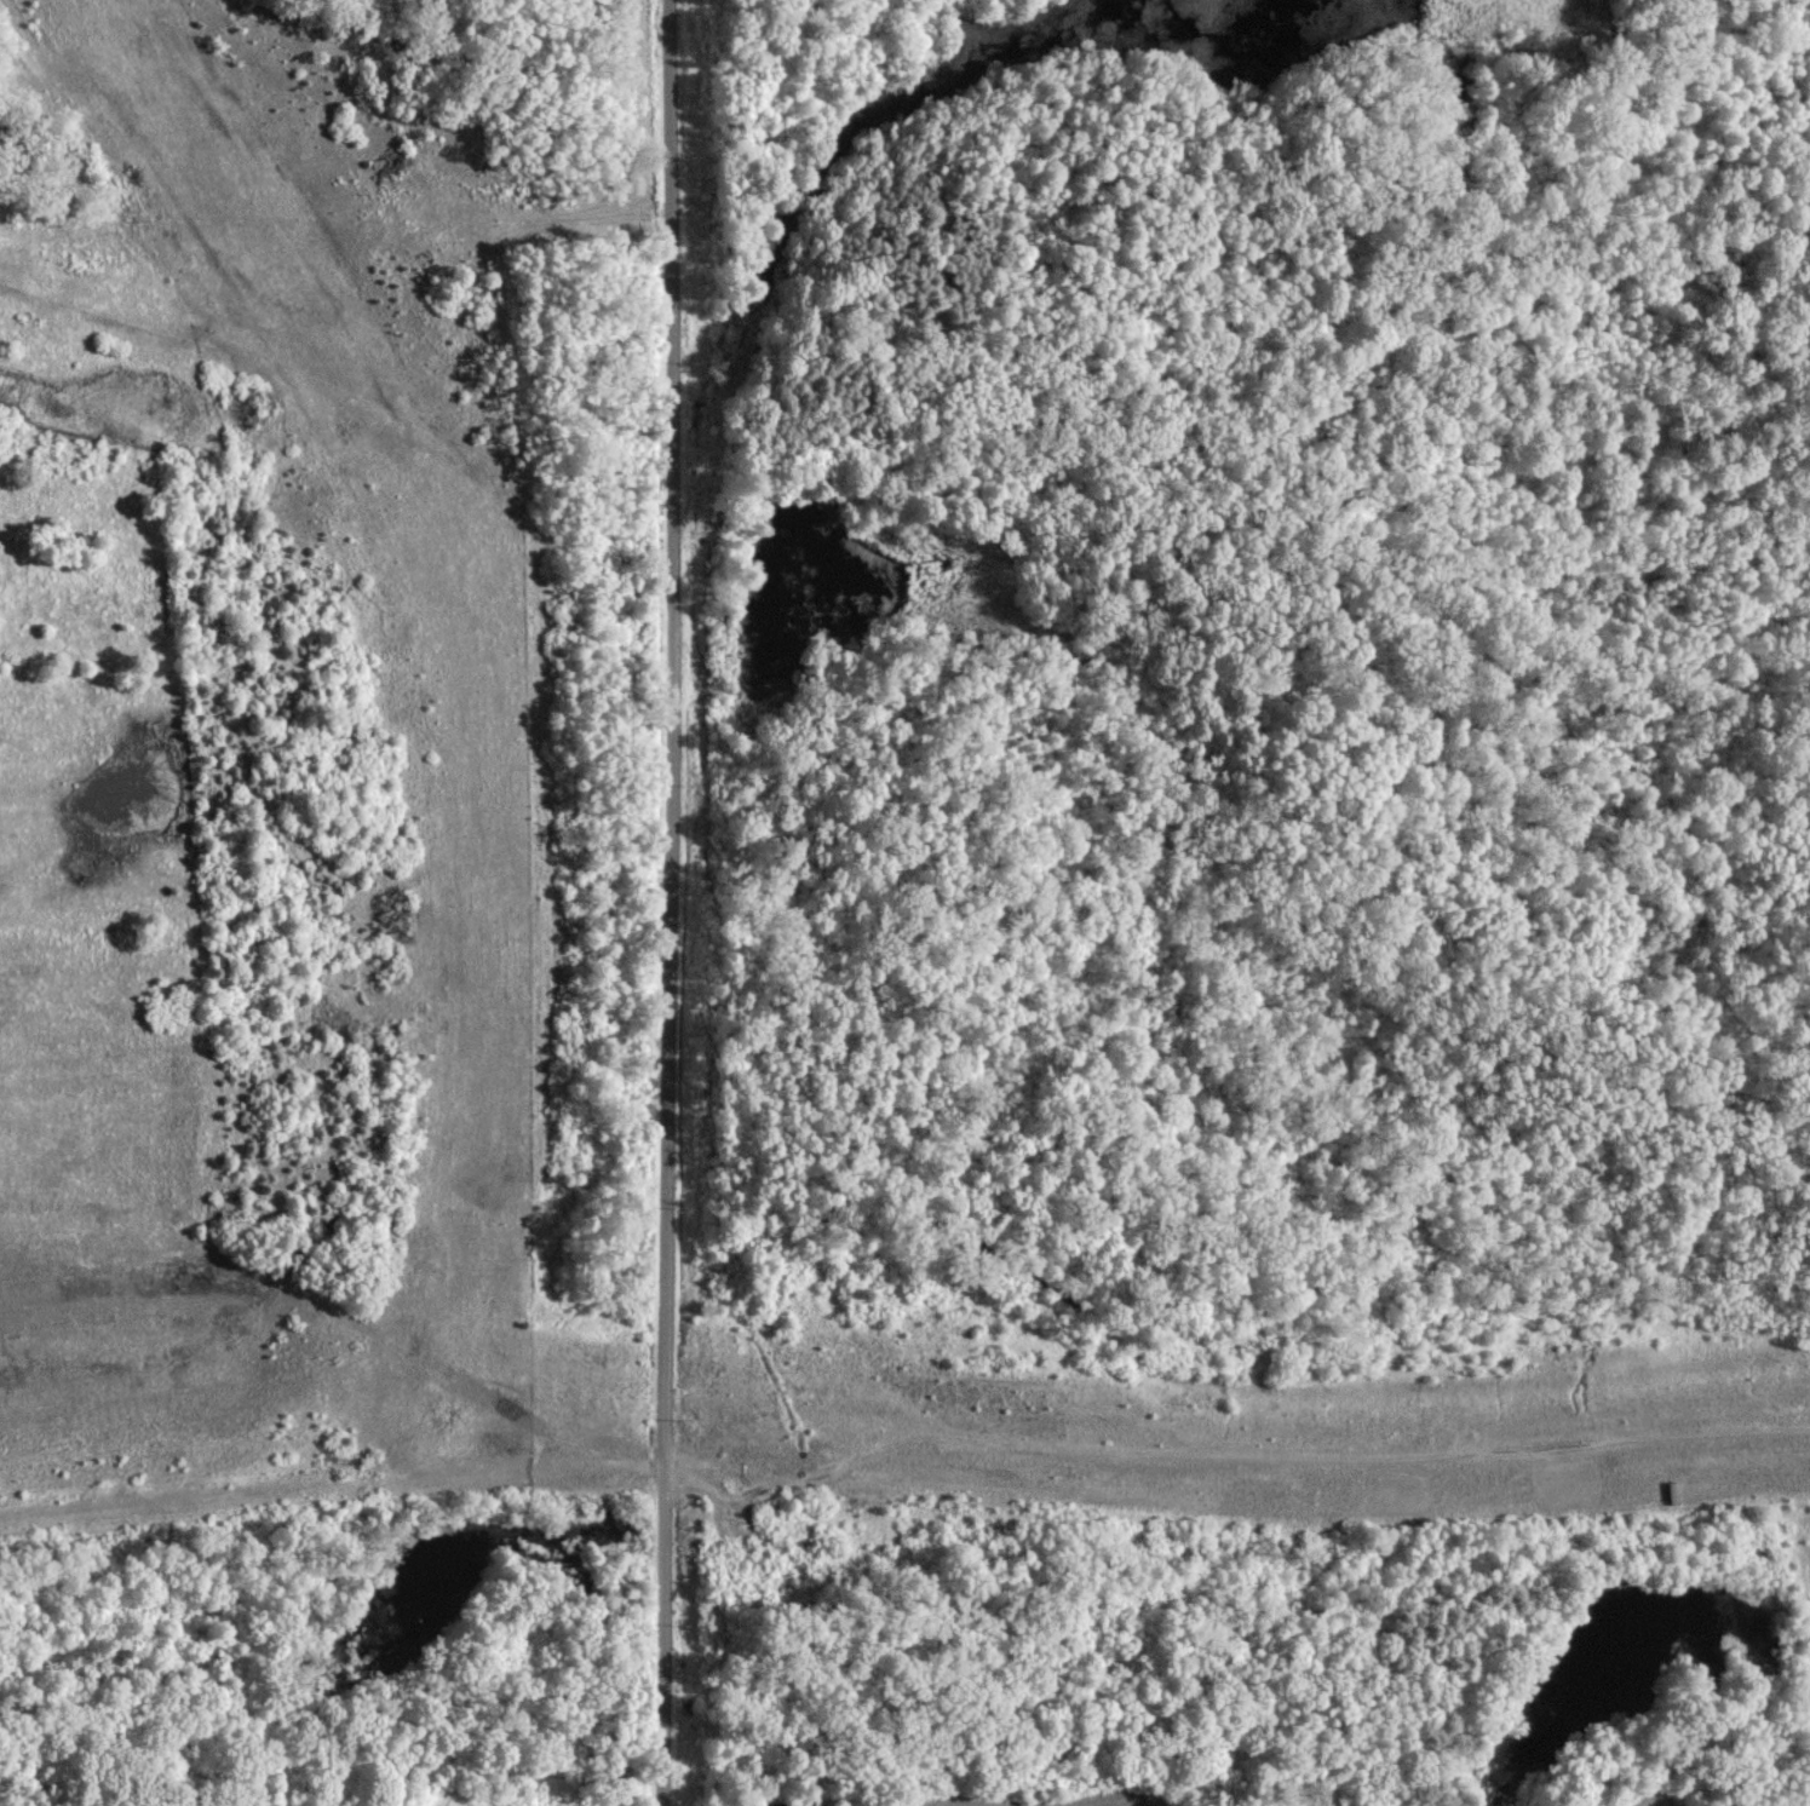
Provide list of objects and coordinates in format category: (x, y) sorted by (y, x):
road: (674, 903)
road: (334, 1484)

